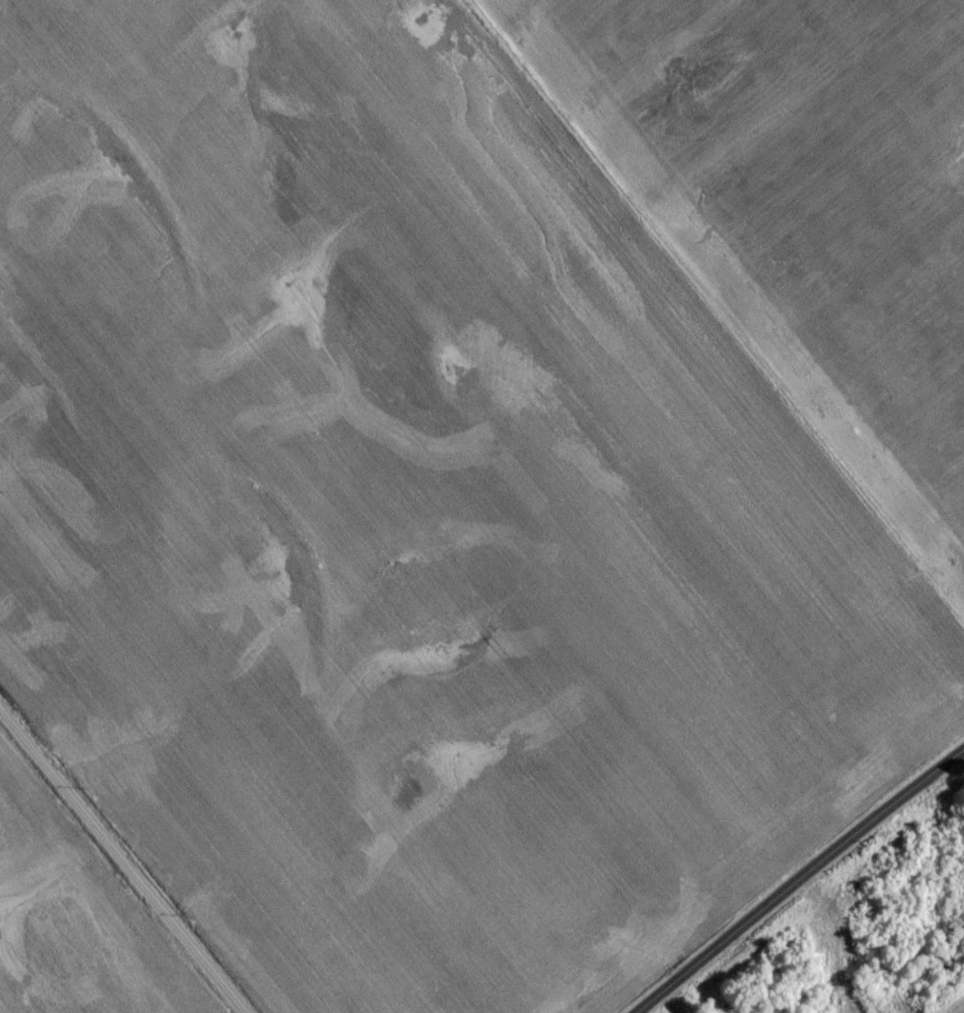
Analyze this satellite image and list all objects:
road: (120, 863)
road: (806, 887)

